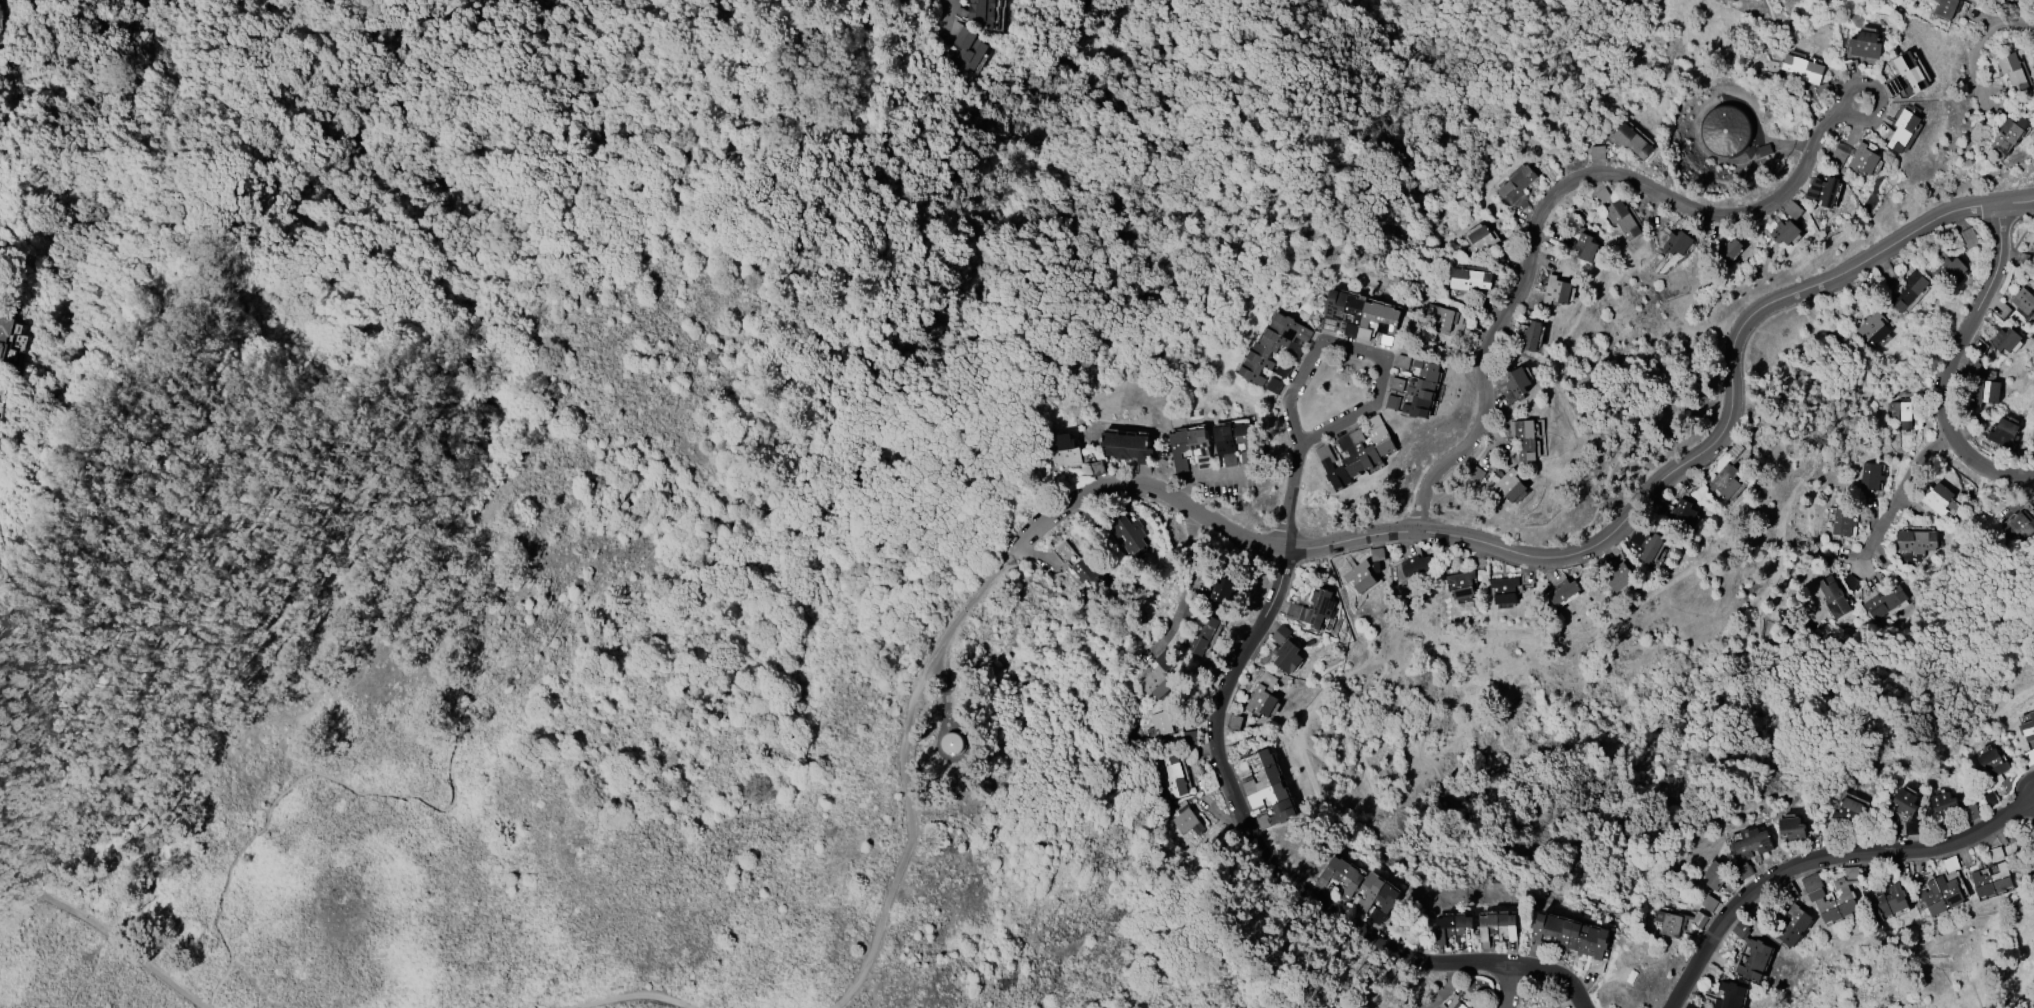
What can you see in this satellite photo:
road: (949, 4)
building: (1945, 8)
building: (982, 12)
building: (0, 15)
road: (1984, 41)
building: (1864, 45)
building: (968, 49)
building: (1803, 68)
building: (1910, 71)
building: (2013, 72)
building: (1820, 92)
building: (1723, 129)
building: (1903, 130)
building: (2008, 135)
building: (1631, 140)
building: (1597, 152)
building: (1862, 160)
building: (1516, 185)
building: (1823, 190)
building: (1600, 194)
road: (1545, 204)
building: (1622, 219)
building: (1784, 232)
building: (1969, 237)
building: (1482, 241)
building: (1677, 243)
building: (2033, 243)
building: (1585, 247)
building: (1731, 250)
building: (2033, 251)
building: (2, 256)
building: (1951, 271)
building: (1469, 279)
building: (1556, 290)
building: (1908, 290)
building: (2023, 302)
building: (1359, 317)
building: (1440, 317)
building: (1873, 328)
building: (4, 331)
building: (1531, 336)
building: (2006, 340)
building: (1274, 346)
road: (1362, 353)
building: (1402, 362)
road: (1949, 363)
building: (1517, 381)
building: (1396, 384)
building: (1421, 389)
building: (1984, 391)
building: (1392, 402)
building: (1900, 413)
building: (2003, 433)
building: (1524, 439)
building: (1233, 443)
building: (1127, 446)
building: (1189, 448)
building: (1064, 451)
building: (1356, 452)
building: (1870, 476)
building: (1724, 482)
building: (1509, 485)
road: (1903, 485)
road: (1283, 492)
building: (1937, 498)
building: (1684, 516)
building: (1842, 522)
building: (2019, 525)
building: (1131, 535)
road: (667, 539)
building: (1914, 541)
building: (1644, 544)
road: (1580, 549)
building: (1415, 565)
building: (1092, 574)
building: (1360, 577)
building: (1619, 577)
building: (1461, 583)
building: (1504, 589)
building: (1226, 591)
building: (1564, 591)
building: (1833, 597)
building: (1883, 602)
building: (1313, 609)
building: (1203, 635)
building: (1287, 656)
building: (1158, 676)
building: (1261, 701)
building: (1234, 722)
building: (1159, 724)
building: (2027, 728)
building: (950, 744)
building: (1991, 764)
building: (1169, 776)
road: (910, 778)
building: (1266, 788)
building: (1904, 802)
building: (1944, 804)
road: (2009, 809)
building: (1847, 812)
building: (1186, 820)
building: (1910, 827)
building: (1792, 828)
building: (1750, 843)
road: (1794, 864)
road: (1280, 867)
building: (2030, 870)
building: (1346, 875)
building: (1716, 875)
building: (1991, 881)
building: (1376, 894)
building: (1815, 895)
building: (1940, 895)
building: (1886, 902)
building: (1708, 903)
building: (1668, 924)
building: (1790, 924)
building: (1450, 925)
building: (1497, 926)
building: (1572, 935)
road: (100, 936)
building: (1751, 954)
road: (1508, 987)
road: (1444, 988)
building: (1729, 996)
road: (635, 998)
building: (1459, 1005)

